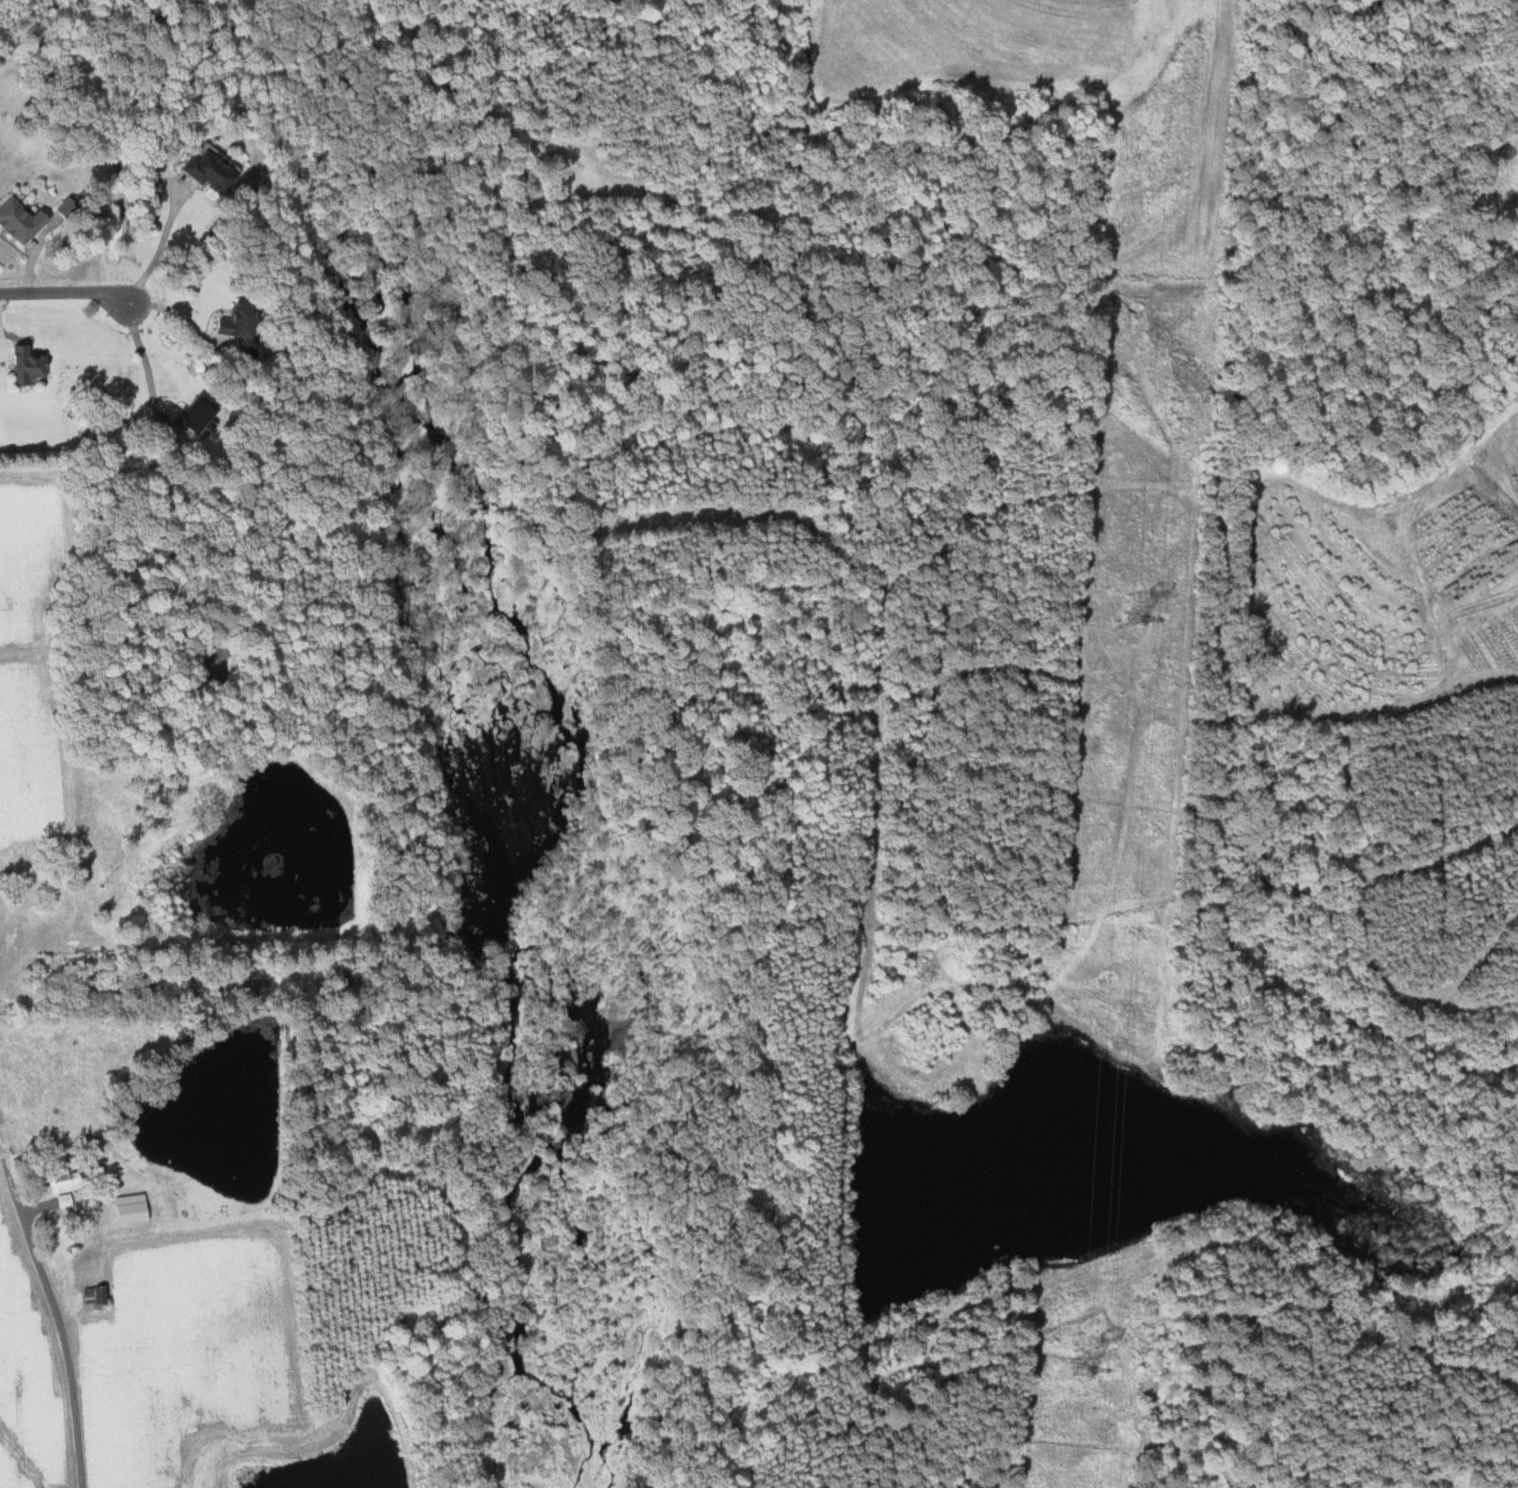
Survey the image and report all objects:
building: (213, 172)
building: (23, 221)
road: (160, 248)
road: (66, 293)
building: (242, 320)
road: (184, 321)
road: (146, 363)
building: (30, 366)
power tower: (1136, 622)
road: (55, 1029)
building: (67, 1180)
building: (67, 1199)
building: (135, 1208)
building: (99, 1295)
road: (57, 1305)
power tower: (1081, 1368)

